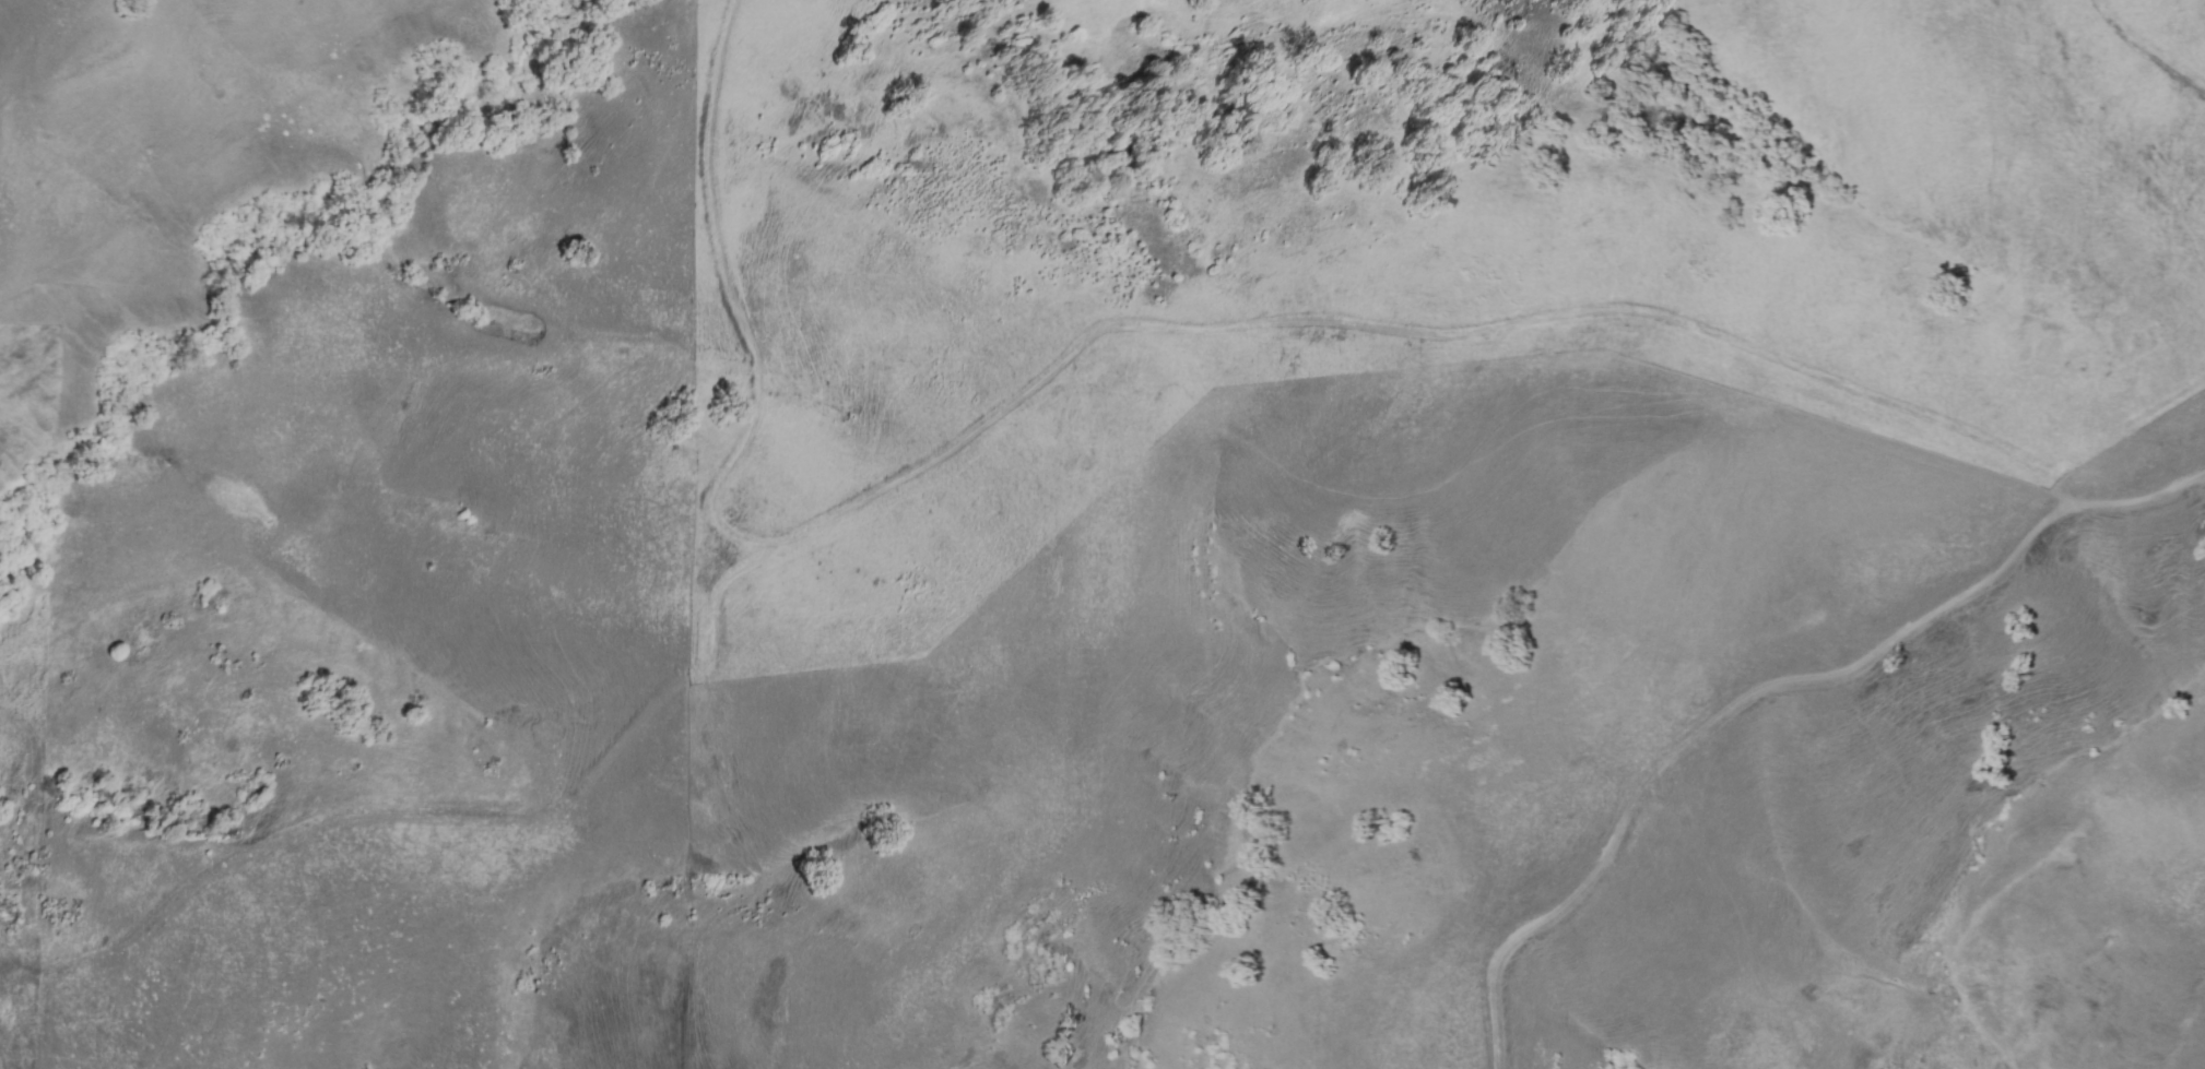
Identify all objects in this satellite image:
road: (2145, 50)
road: (1181, 330)
road: (724, 603)
road: (1714, 718)
road: (486, 815)

